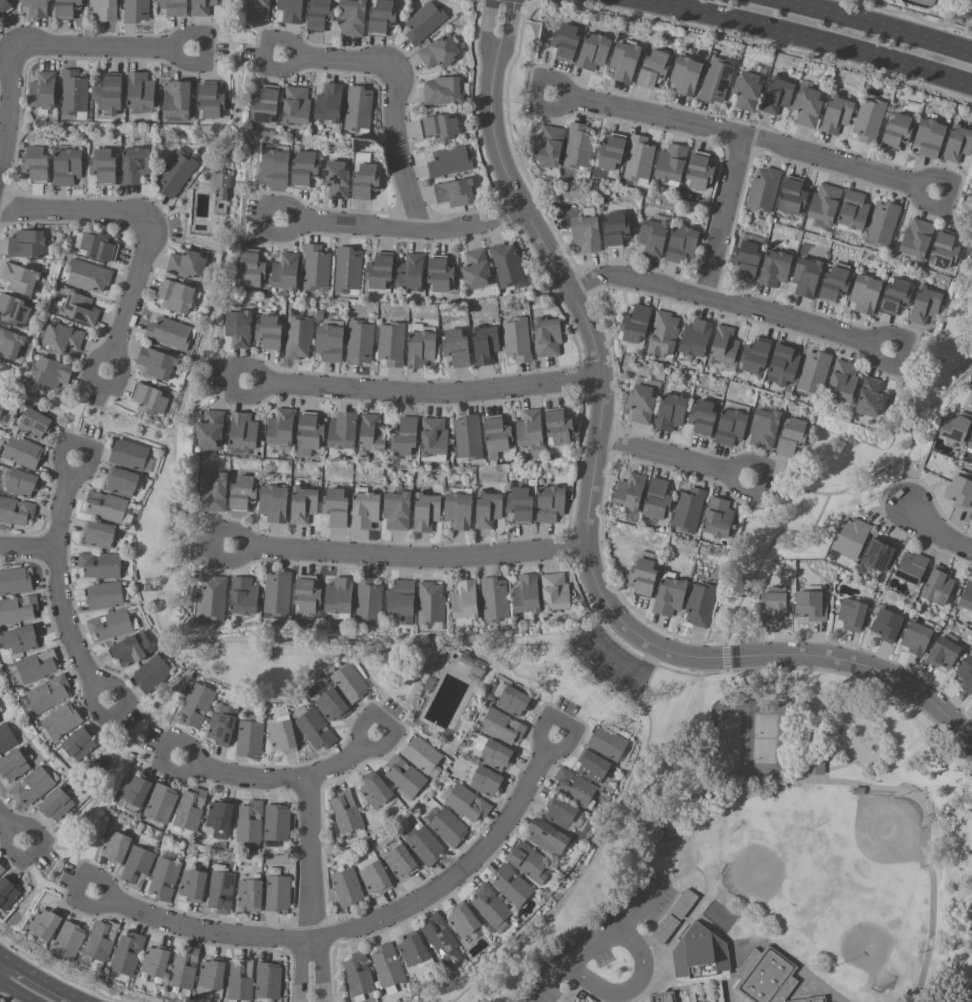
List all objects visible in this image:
park: (920, 3)
building: (4, 6)
building: (174, 7)
building: (201, 7)
building: (35, 8)
building: (66, 8)
building: (103, 9)
building: (255, 9)
building: (289, 10)
building: (135, 11)
building: (318, 14)
building: (380, 15)
building: (351, 18)
building: (423, 22)
road: (881, 24)
road: (810, 36)
building: (564, 41)
road: (104, 47)
building: (592, 51)
building: (438, 52)
road: (339, 60)
building: (623, 61)
building: (652, 68)
building: (684, 75)
building: (715, 81)
building: (42, 90)
building: (443, 90)
building: (746, 90)
building: (139, 91)
building: (73, 94)
building: (776, 95)
building: (176, 100)
building: (210, 101)
building: (328, 103)
building: (264, 104)
building: (295, 105)
building: (807, 106)
building: (357, 108)
road: (10, 112)
building: (835, 114)
building: (868, 119)
building: (440, 127)
building: (896, 131)
road: (745, 135)
building: (928, 137)
building: (957, 143)
building: (548, 145)
building: (577, 146)
road: (399, 150)
building: (610, 152)
building: (638, 160)
building: (449, 161)
building: (35, 163)
building: (669, 164)
building: (103, 165)
building: (135, 166)
building: (66, 167)
building: (303, 168)
building: (274, 169)
building: (698, 171)
building: (176, 173)
building: (335, 179)
building: (220, 187)
building: (762, 188)
building: (454, 192)
road: (952, 193)
building: (791, 196)
building: (824, 203)
building: (853, 210)
road: (74, 212)
road: (185, 212)
road: (166, 214)
road: (726, 217)
park: (968, 221)
building: (882, 223)
building: (614, 229)
road: (406, 231)
building: (584, 234)
building: (651, 237)
building: (916, 238)
building: (26, 244)
building: (680, 244)
building: (93, 246)
building: (944, 249)
building: (745, 260)
building: (186, 264)
building: (506, 265)
building: (315, 267)
building: (250, 268)
building: (774, 268)
building: (475, 269)
building: (347, 270)
building: (379, 271)
building: (284, 272)
building: (409, 272)
building: (438, 274)
building: (86, 276)
building: (805, 276)
building: (19, 278)
building: (835, 282)
building: (864, 294)
building: (175, 296)
building: (894, 296)
road: (132, 297)
road: (730, 305)
building: (923, 305)
building: (79, 308)
building: (13, 310)
building: (635, 324)
building: (237, 328)
building: (268, 332)
building: (169, 333)
building: (297, 334)
building: (662, 334)
road: (213, 337)
building: (546, 337)
building: (62, 338)
building: (694, 338)
building: (516, 339)
building: (359, 342)
building: (10, 343)
building: (328, 343)
building: (390, 344)
building: (484, 344)
building: (723, 345)
building: (420, 347)
building: (455, 347)
building: (754, 355)
building: (156, 363)
road: (228, 364)
building: (782, 365)
road: (971, 370)
building: (50, 372)
building: (813, 372)
building: (842, 379)
road: (427, 393)
building: (869, 397)
building: (150, 399)
road: (105, 403)
building: (640, 403)
building: (1, 404)
road: (51, 405)
building: (669, 411)
building: (701, 416)
building: (33, 424)
road: (109, 425)
building: (558, 426)
building: (280, 427)
building: (729, 427)
building: (954, 427)
building: (763, 428)
building: (528, 429)
building: (210, 430)
building: (242, 431)
building: (342, 431)
building: (309, 432)
building: (371, 434)
building: (496, 436)
building: (790, 436)
building: (404, 437)
building: (467, 437)
building: (433, 439)
building: (970, 442)
building: (21, 452)
building: (128, 454)
road: (677, 459)
park: (850, 471)
building: (120, 481)
building: (22, 483)
road: (905, 485)
road: (790, 486)
building: (631, 491)
building: (213, 492)
building: (959, 493)
building: (242, 494)
road: (592, 495)
building: (658, 498)
road: (826, 500)
building: (274, 504)
building: (550, 504)
building: (303, 505)
building: (521, 505)
building: (106, 506)
building: (336, 507)
building: (364, 509)
building: (689, 509)
building: (397, 510)
building: (488, 510)
building: (15, 511)
building: (458, 511)
building: (426, 512)
building: (719, 517)
road: (938, 533)
building: (99, 534)
park: (161, 535)
building: (851, 537)
road: (205, 540)
road: (28, 550)
building: (878, 554)
road: (410, 558)
building: (100, 565)
building: (912, 567)
building: (642, 577)
building: (15, 582)
road: (59, 585)
building: (938, 585)
building: (556, 592)
building: (307, 594)
building: (527, 594)
building: (669, 594)
building: (277, 595)
building: (105, 596)
building: (243, 596)
building: (339, 597)
building: (966, 597)
building: (212, 599)
building: (368, 600)
building: (494, 600)
building: (402, 601)
building: (465, 602)
building: (431, 603)
building: (701, 604)
building: (774, 604)
building: (810, 606)
building: (17, 609)
building: (851, 614)
building: (112, 625)
building: (886, 625)
building: (916, 638)
building: (20, 639)
road: (340, 646)
building: (131, 649)
building: (943, 653)
building: (473, 664)
building: (35, 667)
building: (152, 674)
building: (966, 675)
building: (349, 684)
road: (380, 691)
building: (49, 693)
road: (410, 694)
building: (514, 701)
building: (197, 705)
building: (332, 705)
building: (61, 721)
building: (222, 726)
building: (502, 727)
building: (314, 728)
building: (283, 735)
building: (6, 738)
building: (249, 739)
building: (80, 743)
building: (608, 743)
building: (495, 753)
building: (423, 756)
building: (14, 764)
building: (593, 766)
building: (813, 766)
road: (284, 778)
building: (404, 778)
building: (487, 782)
building: (33, 786)
building: (574, 788)
building: (375, 790)
building: (135, 792)
road: (95, 798)
building: (56, 803)
building: (161, 803)
building: (467, 803)
building: (190, 809)
building: (561, 812)
building: (346, 813)
building: (220, 817)
building: (249, 822)
building: (276, 823)
road: (13, 825)
building: (448, 828)
park: (777, 830)
building: (547, 838)
building: (425, 846)
building: (115, 847)
road: (52, 850)
park: (849, 853)
building: (400, 861)
building: (528, 862)
building: (137, 867)
building: (2, 869)
park: (774, 871)
building: (376, 878)
building: (164, 879)
building: (193, 885)
building: (512, 886)
building: (347, 888)
road: (312, 889)
building: (221, 891)
building: (8, 892)
building: (277, 893)
building: (250, 895)
road: (33, 896)
building: (683, 904)
building: (490, 906)
road: (645, 908)
building: (463, 920)
building: (46, 923)
road: (363, 925)
building: (665, 929)
building: (441, 940)
building: (68, 941)
building: (101, 941)
building: (413, 950)
road: (19, 953)
building: (127, 954)
building: (699, 954)
building: (156, 961)
road: (576, 962)
building: (418, 965)
building: (184, 968)
building: (388, 968)
building: (212, 974)
building: (359, 976)
building: (765, 977)
road: (36, 981)
building: (240, 981)
building: (268, 981)
road: (14, 991)
road: (627, 991)
building: (662, 997)
building: (811, 1000)
road: (72, 1001)
building: (722, 1001)

